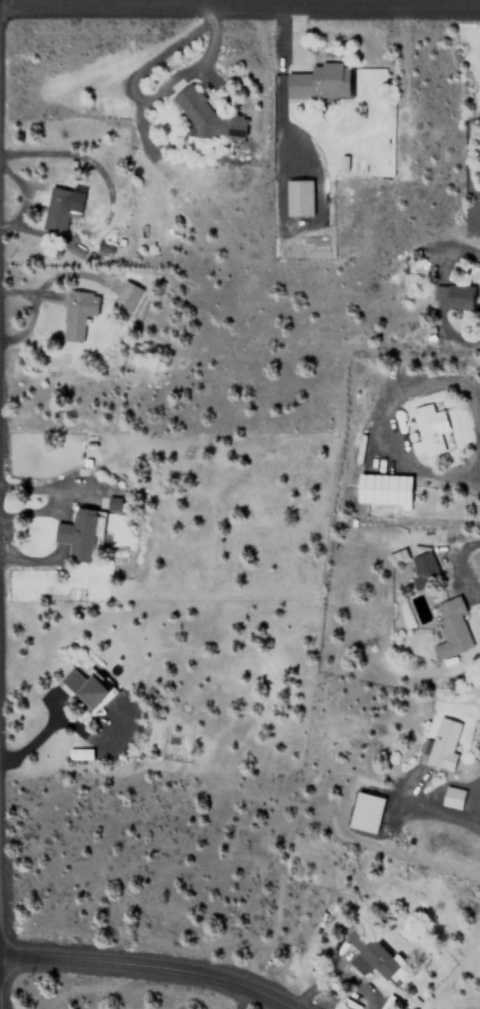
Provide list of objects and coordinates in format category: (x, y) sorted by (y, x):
road: (240, 5)
building: (320, 81)
building: (209, 111)
building: (302, 196)
building: (60, 206)
building: (125, 296)
building: (453, 296)
building: (77, 313)
building: (429, 427)
building: (384, 488)
building: (109, 501)
building: (81, 532)
building: (398, 556)
building: (423, 570)
building: (450, 628)
building: (86, 688)
building: (442, 744)
building: (82, 753)
building: (452, 797)
building: (365, 811)
road: (439, 811)
building: (372, 951)
road: (146, 967)

